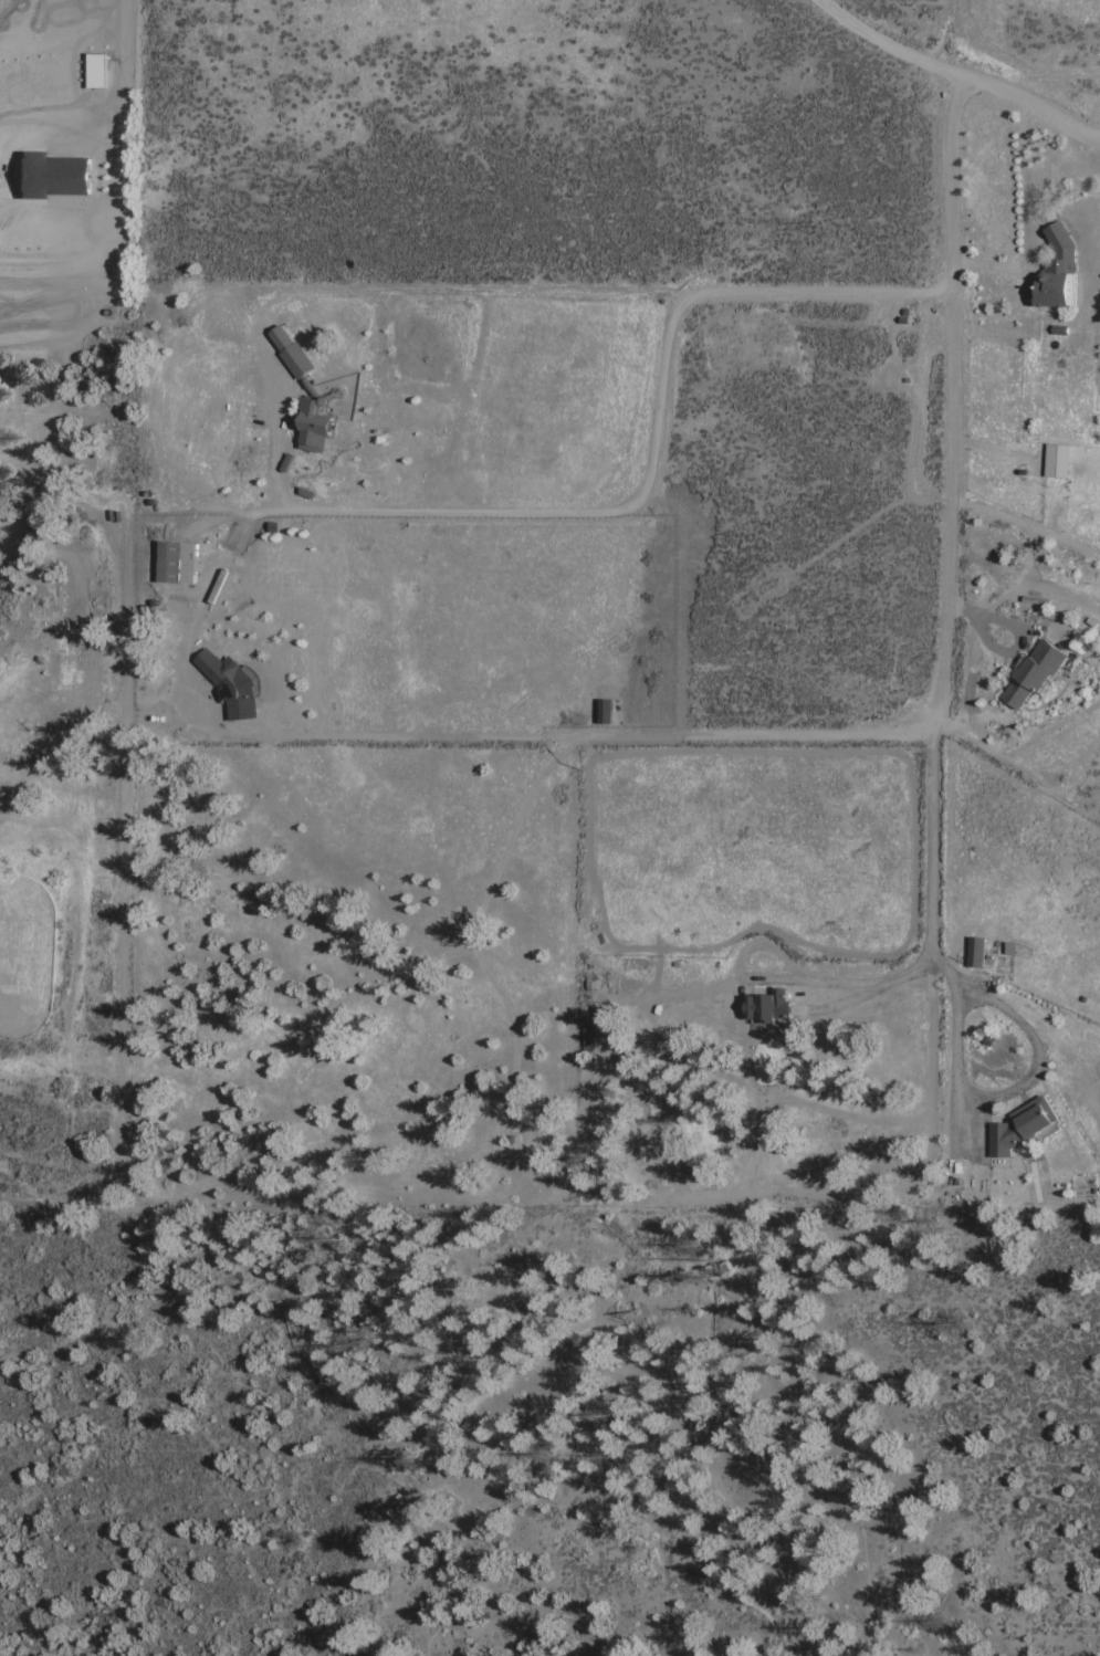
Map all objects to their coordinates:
building: (97, 69)
road: (955, 75)
road: (114, 87)
building: (50, 176)
road: (1027, 217)
building: (1055, 271)
road: (46, 273)
building: (484, 369)
building: (313, 392)
road: (952, 405)
building: (475, 419)
road: (277, 431)
building: (472, 443)
building: (290, 460)
building: (1056, 461)
building: (463, 465)
building: (307, 494)
road: (555, 514)
road: (1026, 527)
building: (272, 528)
building: (175, 562)
road: (1067, 593)
road: (1019, 635)
building: (1033, 673)
building: (229, 685)
building: (605, 693)
road: (967, 702)
road: (971, 708)
building: (603, 713)
road: (1048, 725)
road: (594, 735)
road: (66, 793)
road: (122, 796)
road: (932, 861)
building: (1010, 946)
building: (975, 952)
road: (790, 981)
building: (766, 1010)
building: (588, 1037)
road: (977, 1098)
building: (1018, 1128)
road: (504, 1350)

